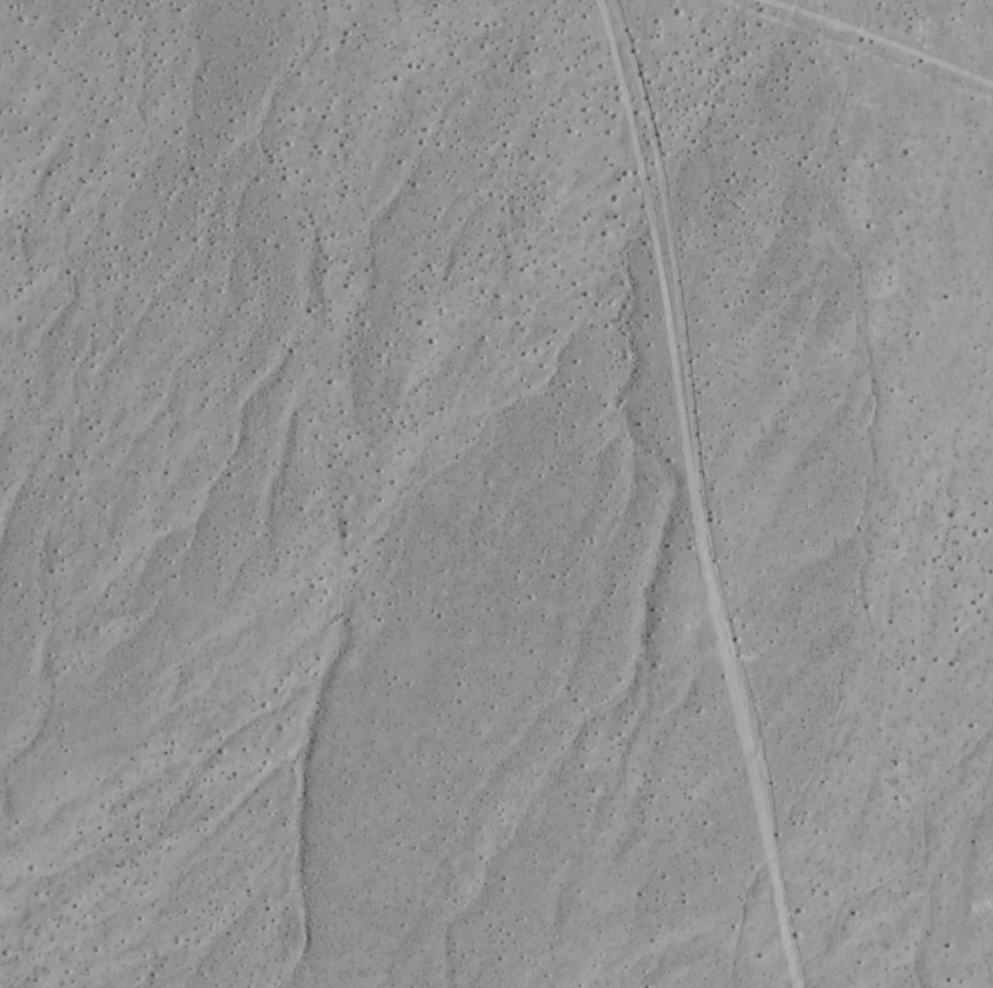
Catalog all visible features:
road: (692, 495)

